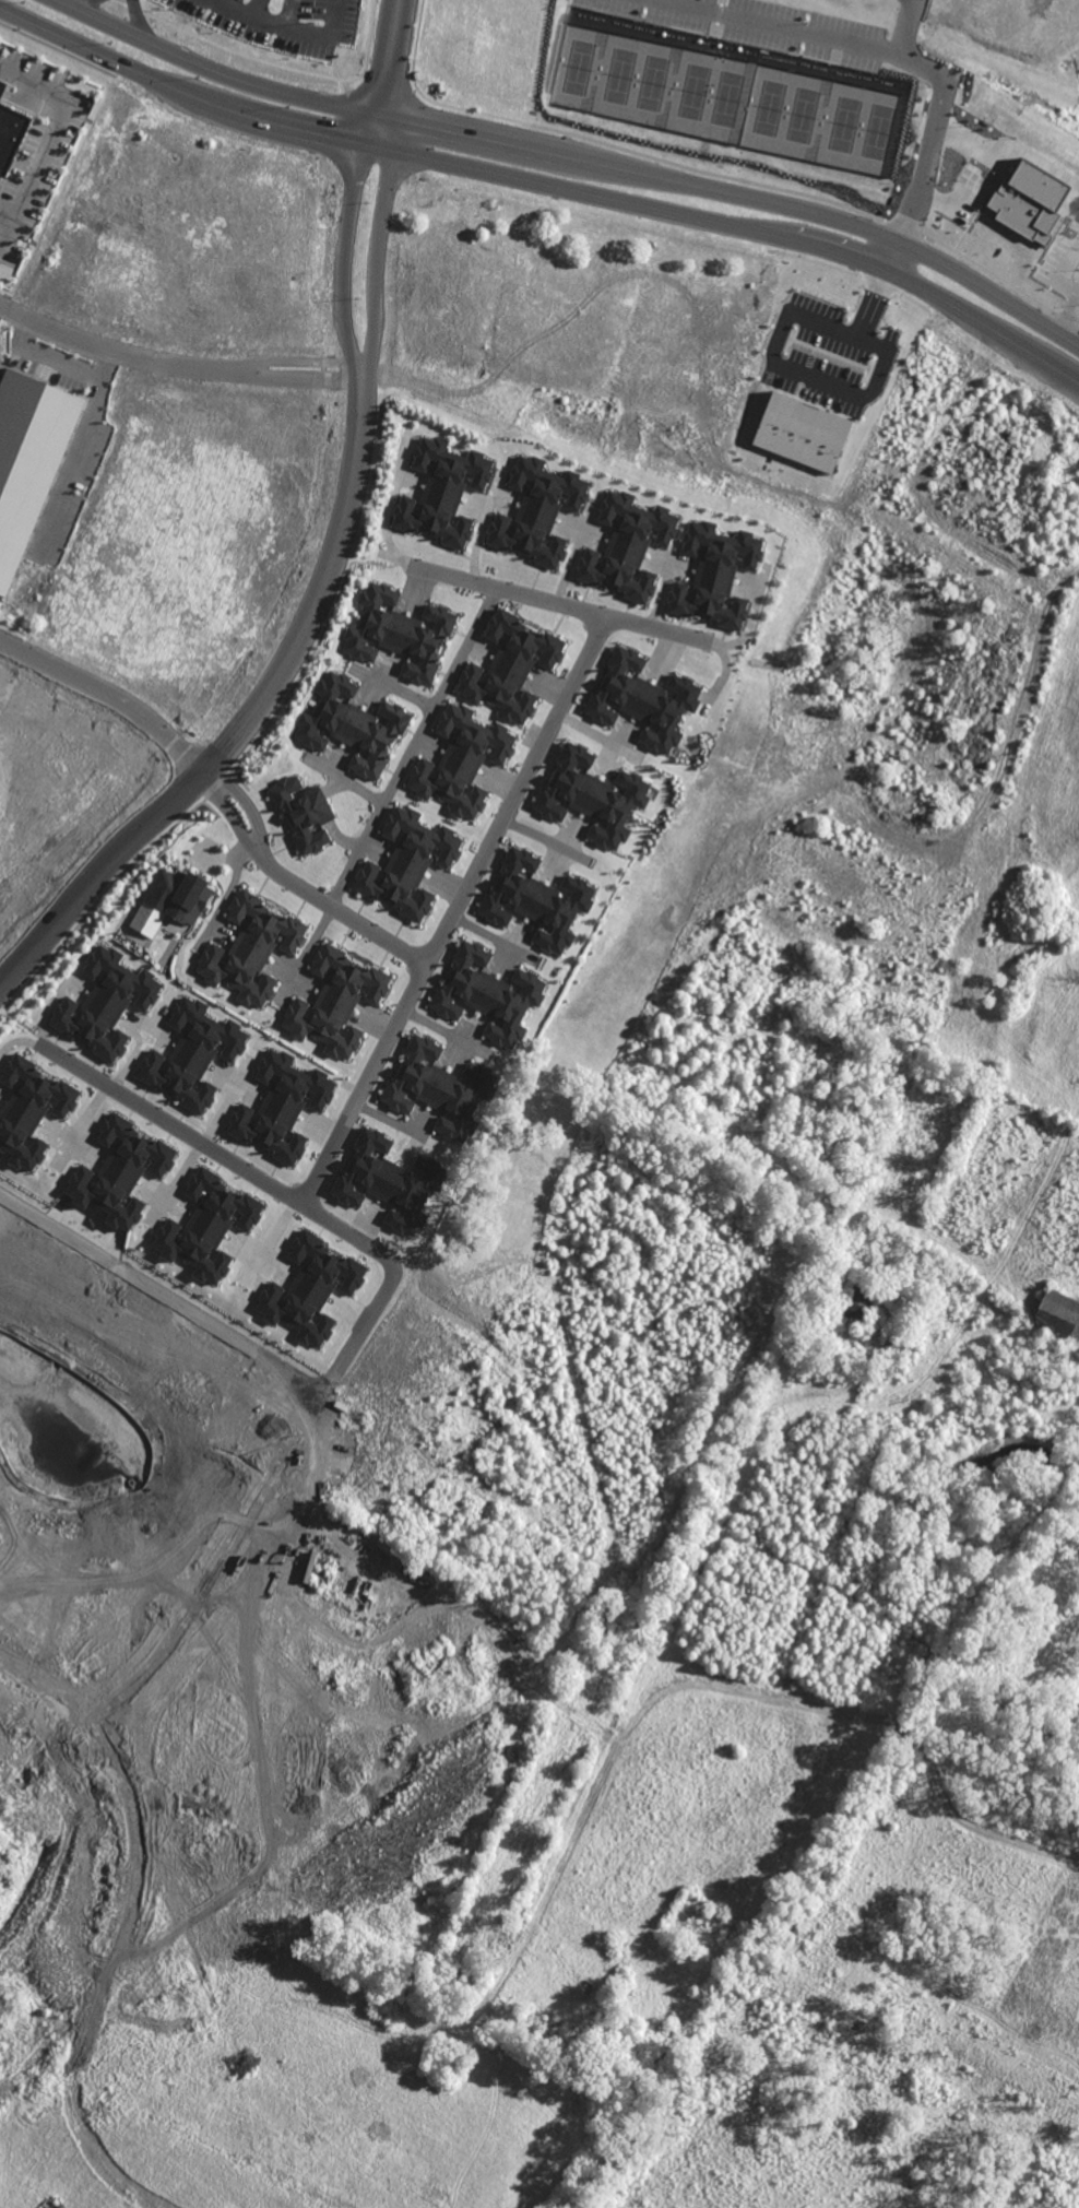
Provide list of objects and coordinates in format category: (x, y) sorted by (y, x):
road: (79, 3)
road: (134, 19)
road: (904, 27)
road: (390, 56)
road: (901, 59)
building: (1, 88)
road: (49, 134)
building: (10, 137)
road: (574, 152)
road: (546, 185)
road: (5, 238)
road: (342, 258)
road: (380, 261)
road: (120, 353)
road: (52, 359)
road: (308, 361)
road: (309, 377)
road: (833, 386)
building: (801, 432)
road: (78, 449)
building: (27, 460)
building: (442, 492)
building: (537, 510)
building: (627, 545)
building: (714, 574)
road: (558, 600)
building: (399, 633)
building: (510, 668)
road: (109, 694)
building: (643, 699)
building: (351, 725)
road: (237, 732)
road: (412, 744)
building: (461, 760)
building: (592, 795)
road: (238, 799)
road: (222, 808)
building: (303, 813)
building: (408, 862)
road: (226, 893)
building: (171, 900)
building: (537, 900)
road: (334, 907)
road: (454, 908)
building: (251, 949)
building: (487, 994)
building: (106, 1002)
building: (335, 1002)
building: (192, 1054)
building: (440, 1089)
building: (281, 1106)
building: (29, 1111)
road: (206, 1144)
building: (119, 1173)
building: (389, 1181)
building: (206, 1226)
road: (123, 1278)
building: (310, 1290)
building: (1058, 1313)
road: (349, 1348)
road: (1054, 1568)
road: (982, 1799)
road: (82, 2147)

